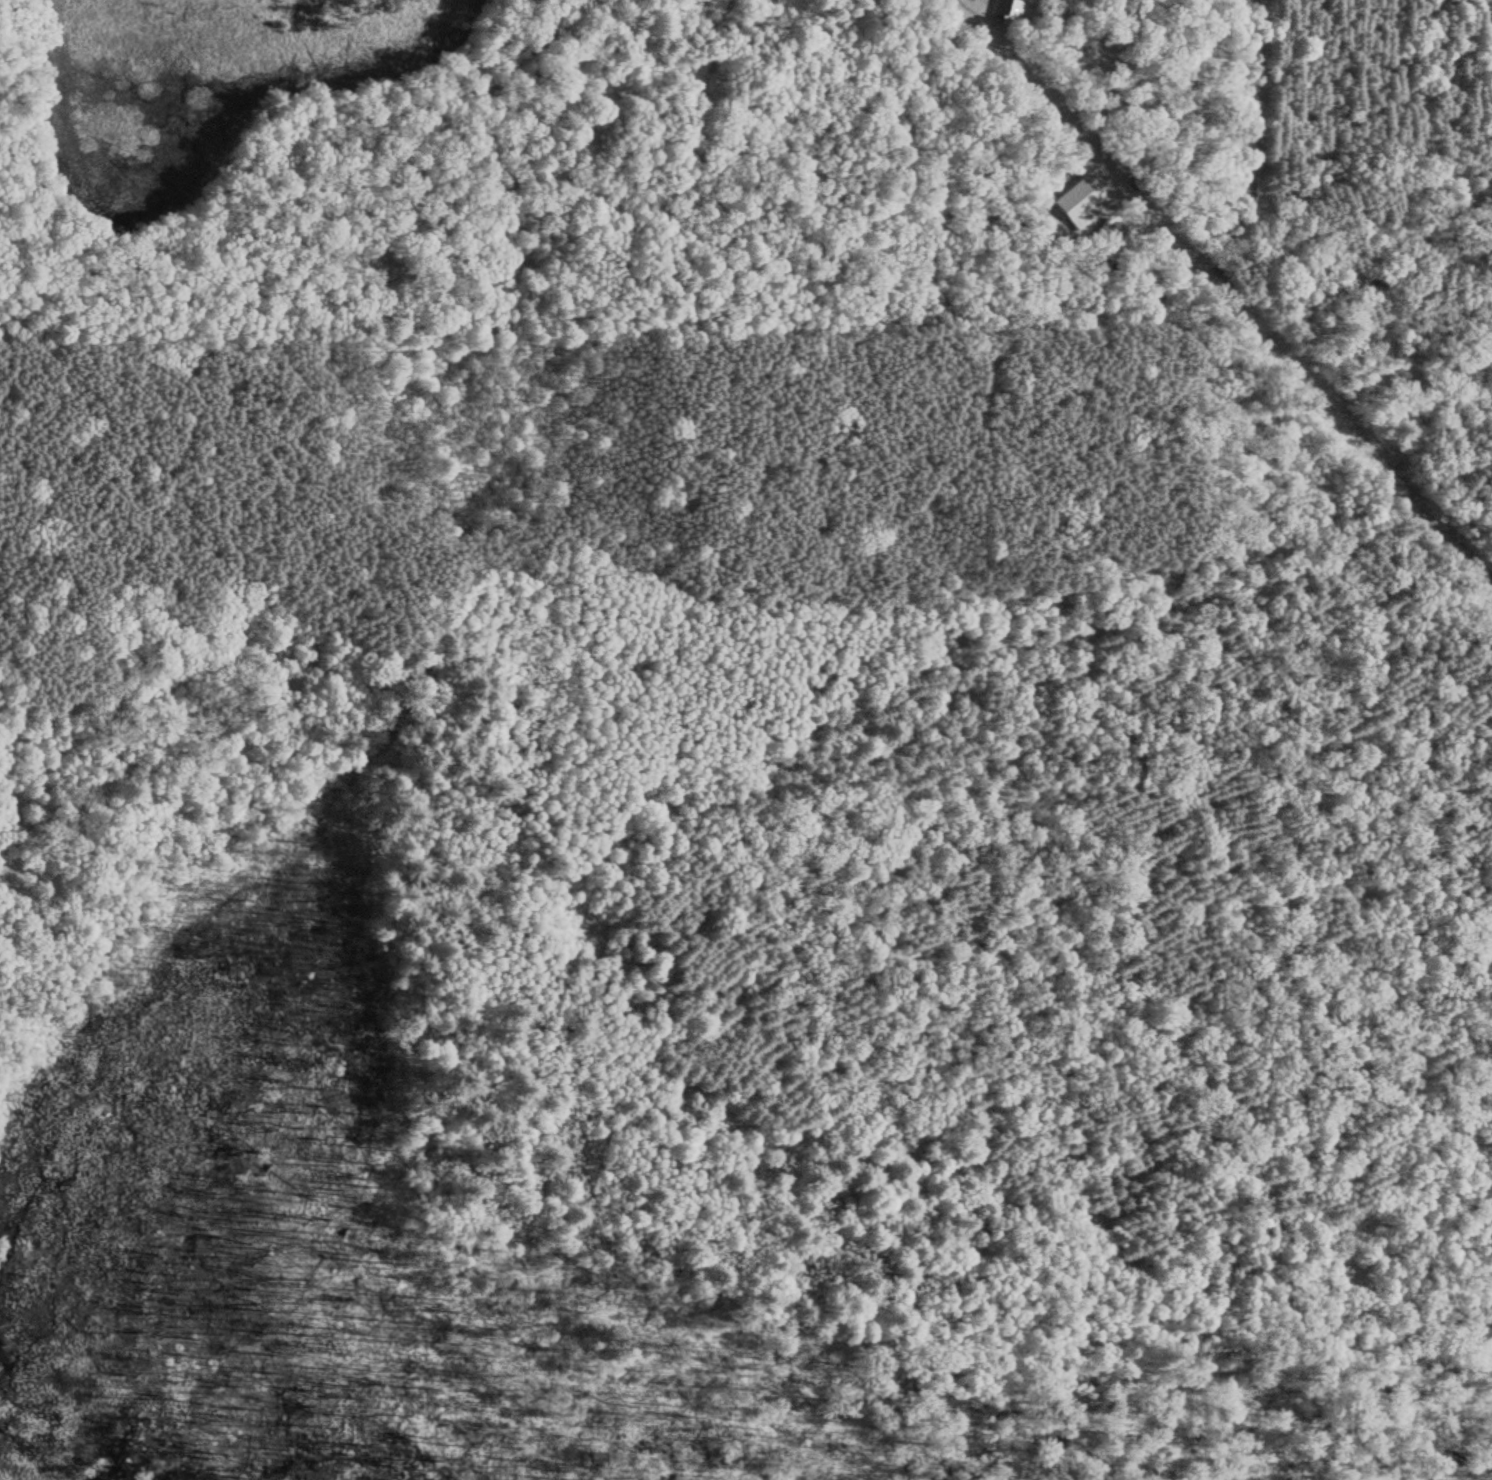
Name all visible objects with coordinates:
building: (997, 11)
road: (1010, 42)

